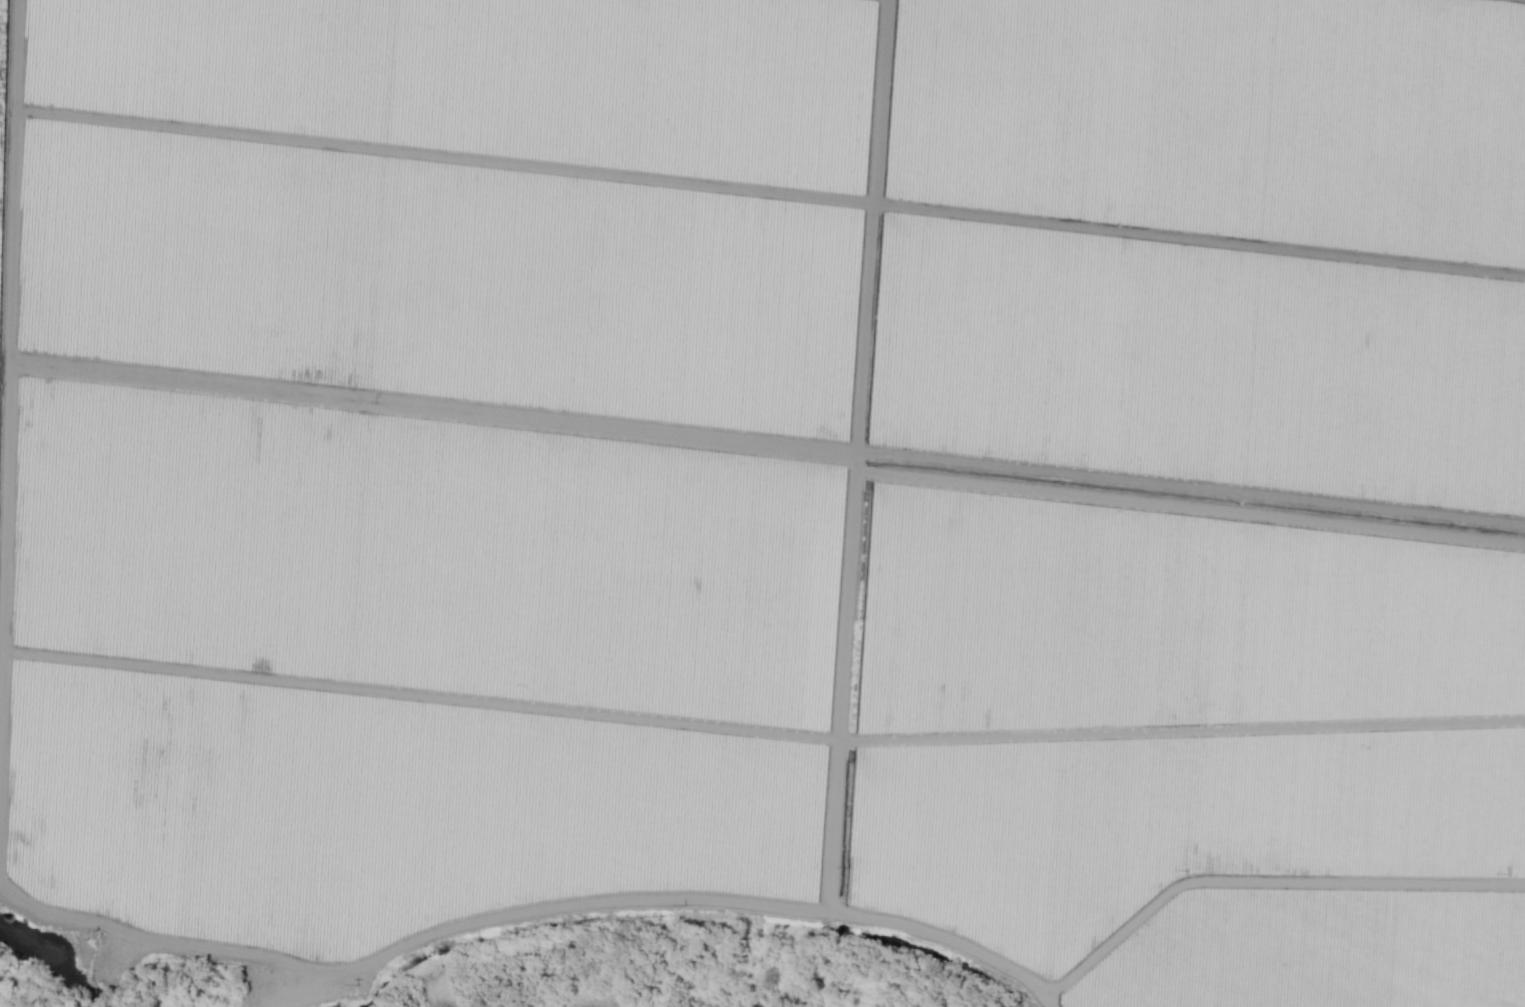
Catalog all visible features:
crop: (477, 80)
crop: (1212, 245)
crop: (438, 284)
crop: (421, 555)
crop: (1170, 621)
crop: (384, 808)
crop: (1166, 828)
crop: (1326, 955)

